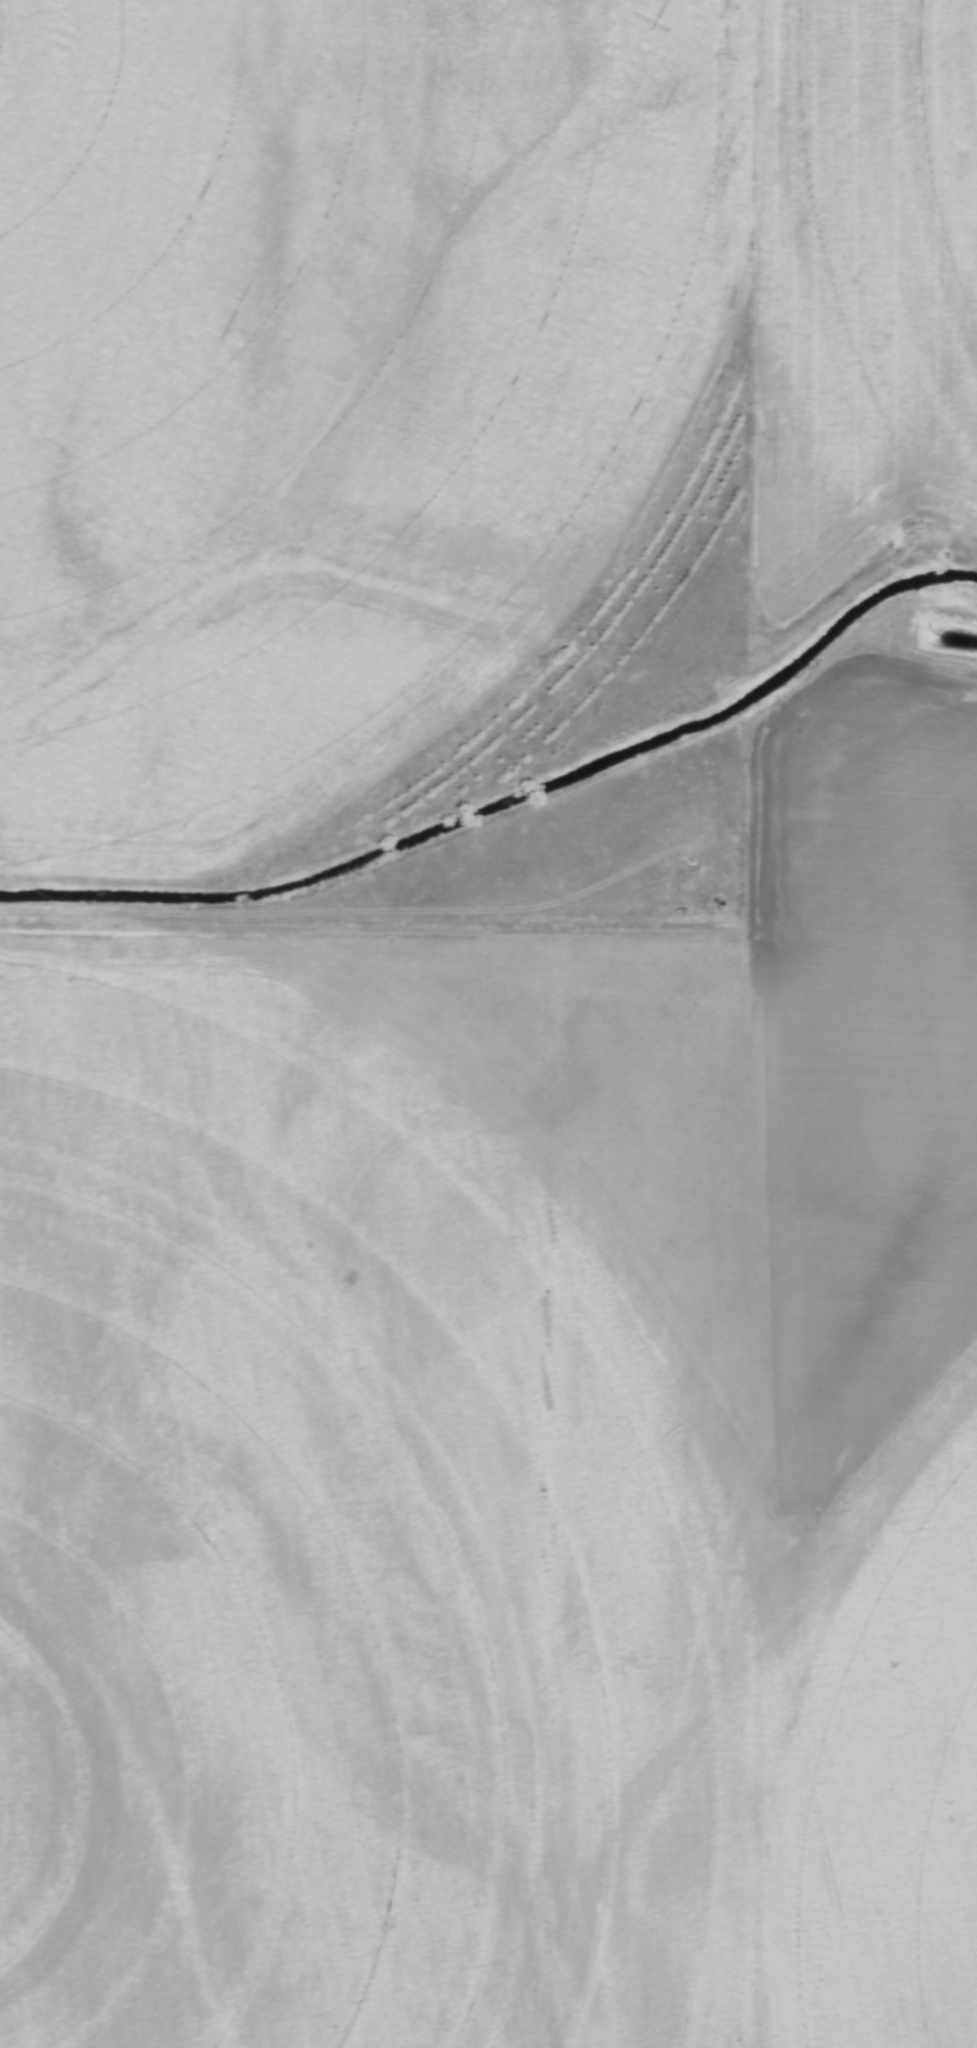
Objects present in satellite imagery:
crop: (429, 361)
crop: (506, 1458)

